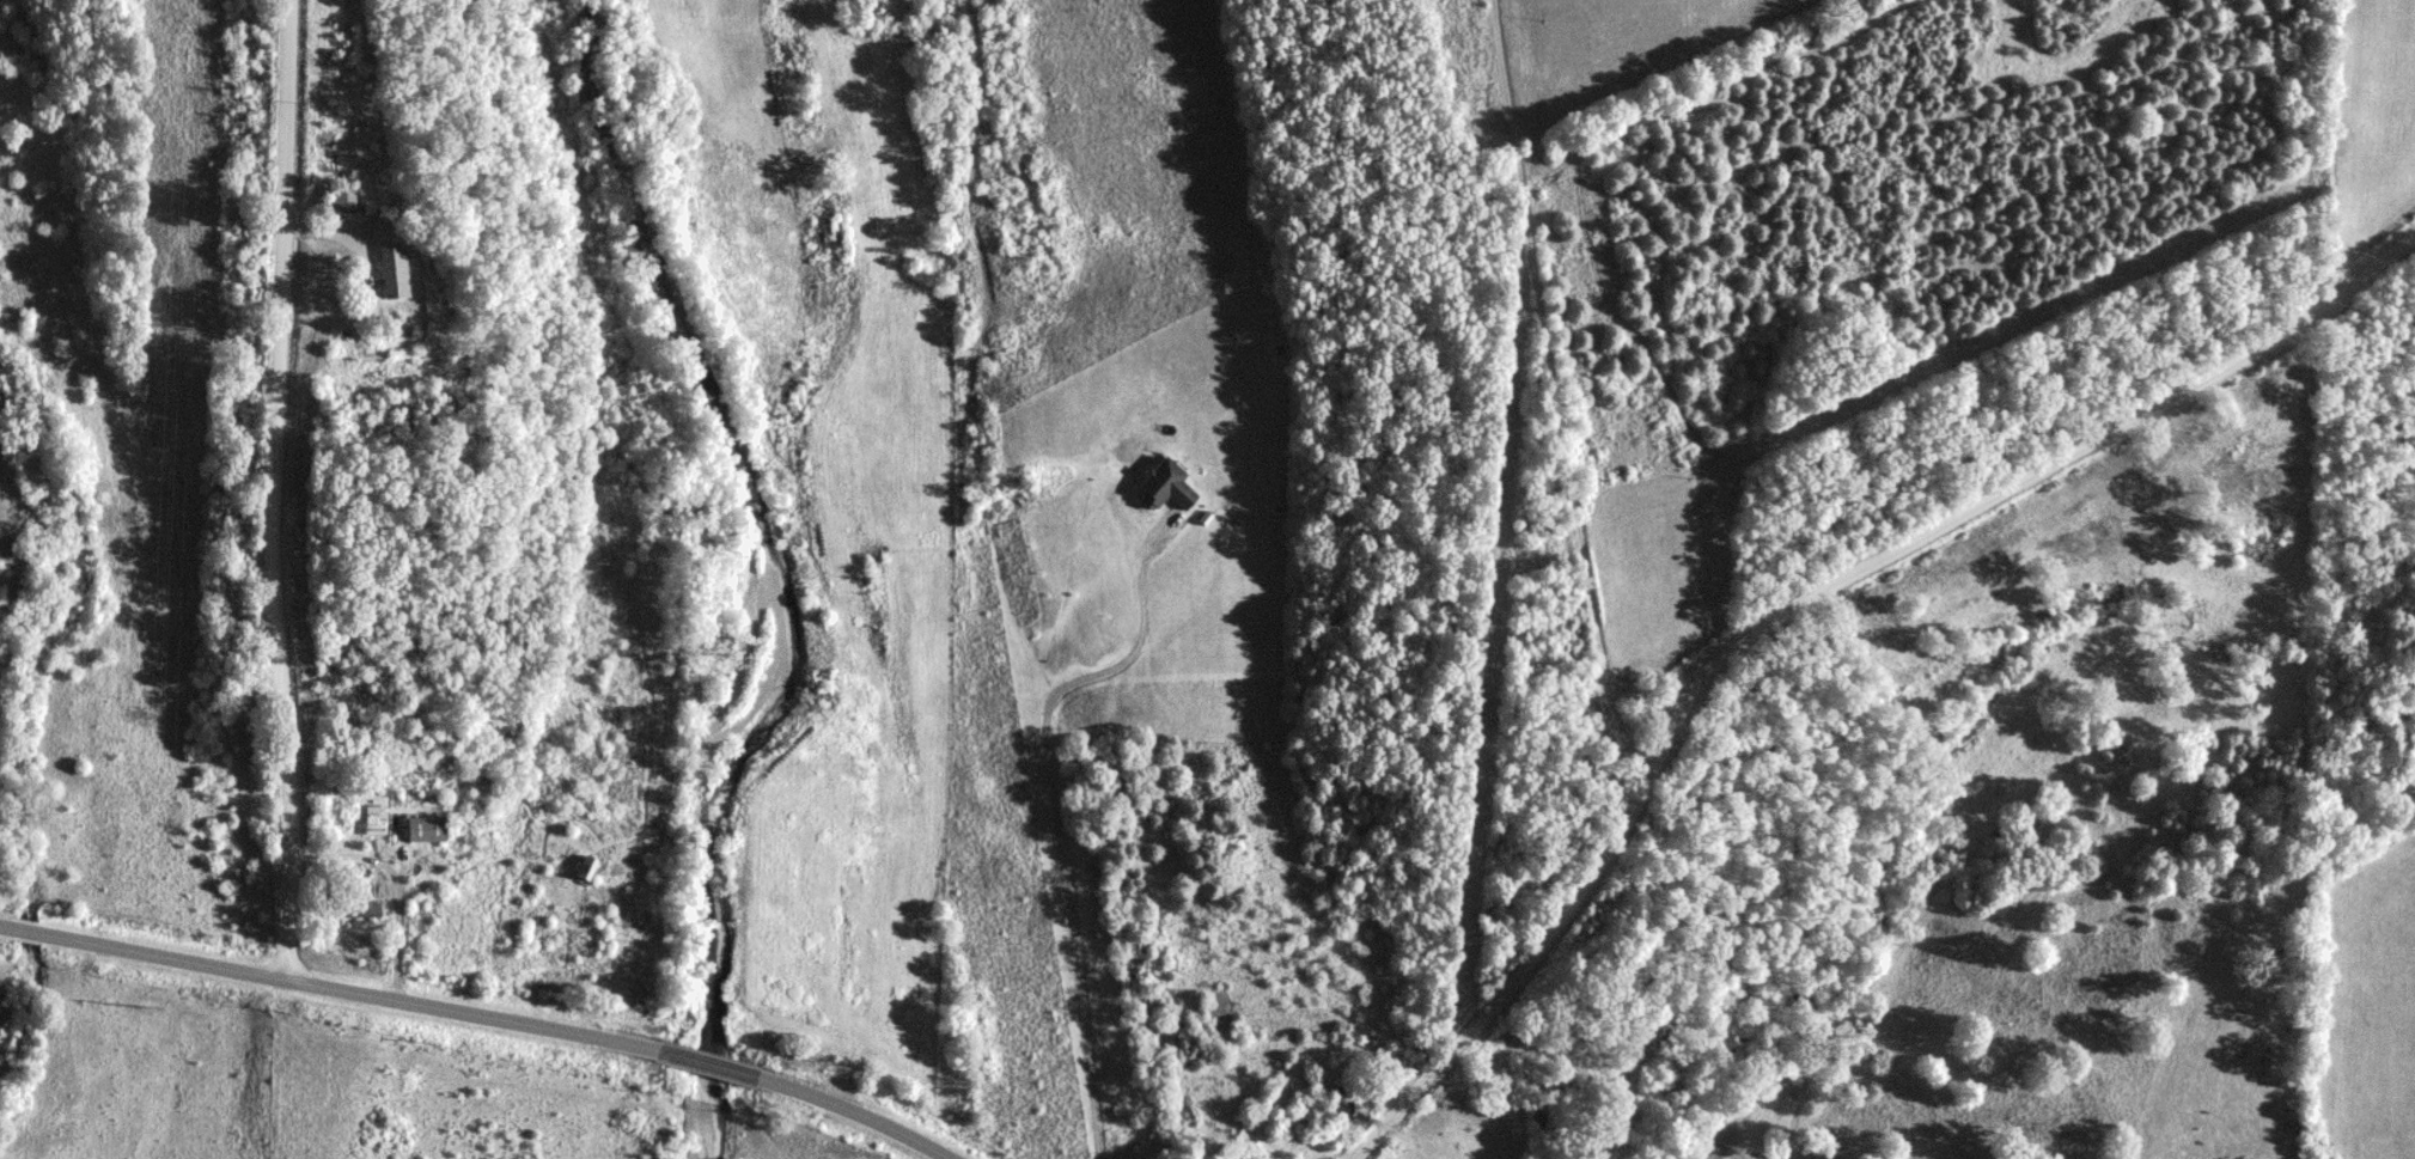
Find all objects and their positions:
building: (342, 200)
road: (350, 240)
building: (394, 270)
road: (1554, 397)
building: (1164, 483)
road: (273, 493)
road: (1800, 615)
building: (427, 830)
building: (586, 870)
road: (401, 886)
road: (482, 1017)
road: (1573, 1061)

